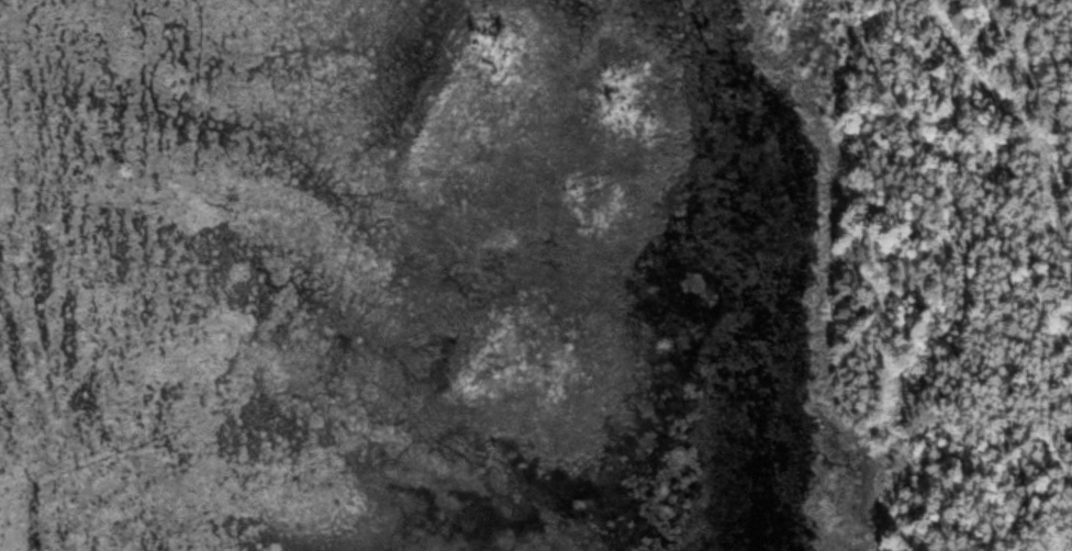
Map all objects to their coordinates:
road: (1018, 116)

